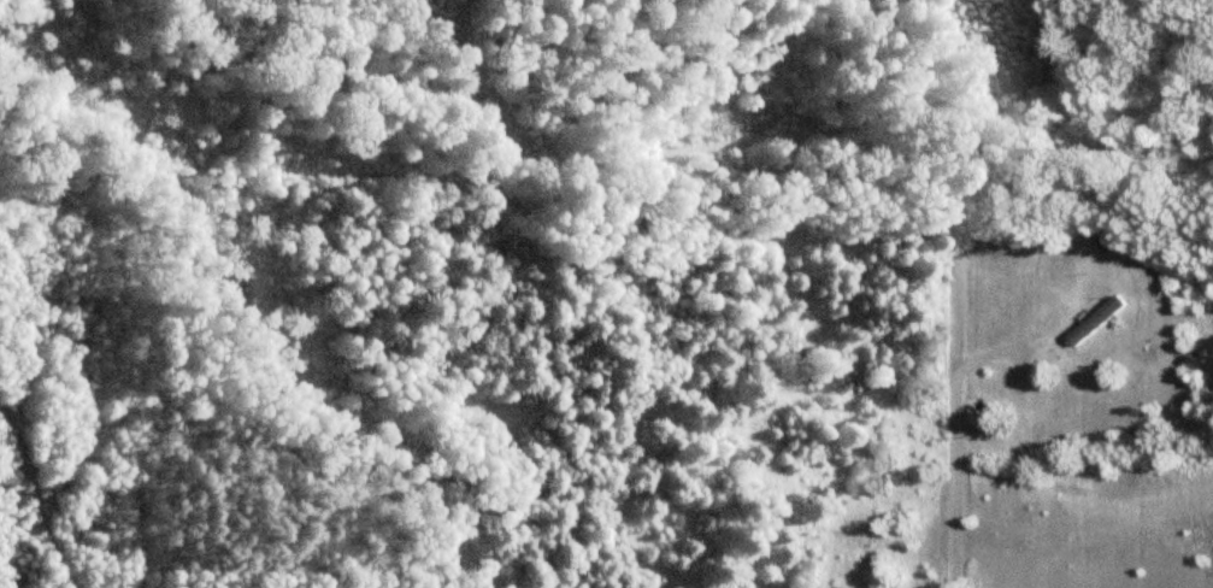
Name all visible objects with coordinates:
building: (1101, 321)
road: (960, 464)

